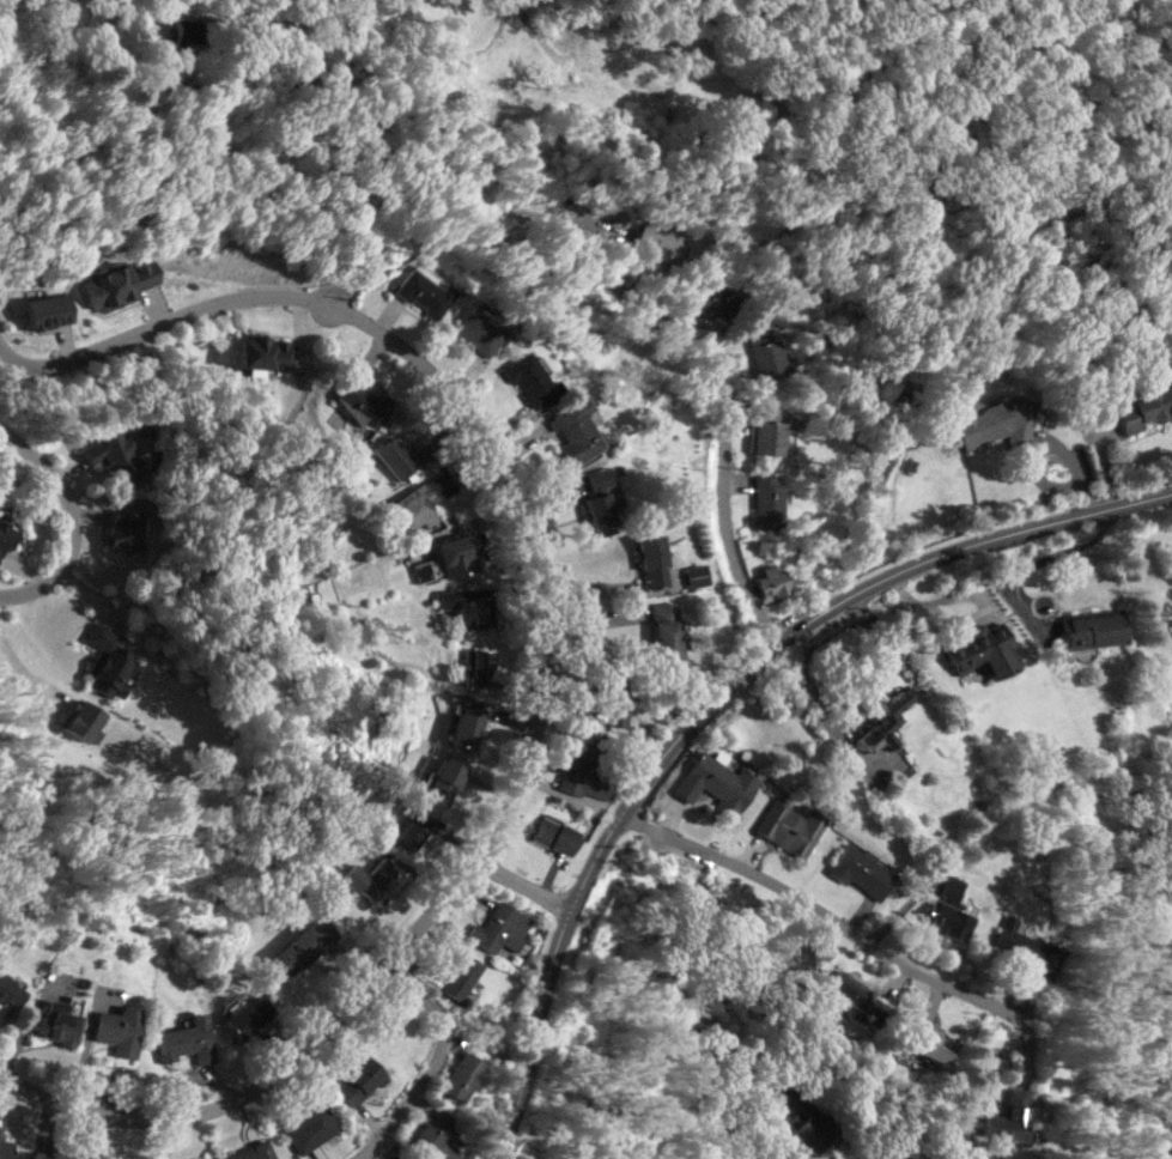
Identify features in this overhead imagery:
road: (515, 0)
road: (67, 28)
road: (431, 85)
road: (304, 168)
building: (666, 245)
building: (119, 284)
building: (424, 290)
building: (715, 299)
building: (48, 310)
building: (480, 329)
building: (764, 352)
building: (262, 354)
building: (530, 378)
building: (362, 400)
building: (1143, 407)
building: (991, 420)
road: (723, 427)
building: (761, 430)
building: (575, 432)
building: (113, 455)
building: (402, 456)
road: (891, 491)
building: (766, 499)
building: (420, 500)
building: (600, 502)
road: (72, 522)
building: (121, 528)
building: (7, 534)
building: (455, 553)
building: (652, 560)
building: (696, 574)
building: (771, 581)
building: (466, 608)
building: (1092, 627)
building: (664, 629)
building: (984, 650)
road: (758, 656)
building: (107, 660)
building: (476, 667)
road: (546, 668)
building: (614, 699)
building: (81, 718)
building: (885, 718)
building: (467, 724)
building: (581, 776)
building: (443, 778)
building: (716, 782)
building: (790, 826)
building: (412, 827)
building: (553, 833)
building: (861, 869)
building: (368, 876)
road: (526, 885)
building: (948, 909)
road: (822, 910)
building: (498, 928)
building: (303, 945)
building: (1028, 952)
building: (461, 976)
building: (845, 987)
building: (10, 988)
building: (248, 1015)
building: (59, 1023)
building: (119, 1028)
building: (186, 1039)
building: (931, 1044)
road: (435, 1062)
building: (460, 1078)
building: (359, 1082)
road: (509, 1098)
building: (1008, 1115)
road: (752, 1119)
building: (807, 1119)
building: (310, 1128)
building: (435, 1135)
building: (5, 1148)
building: (251, 1151)
building: (50, 1155)
building: (394, 1157)
building: (207, 1158)
building: (209, 1158)

